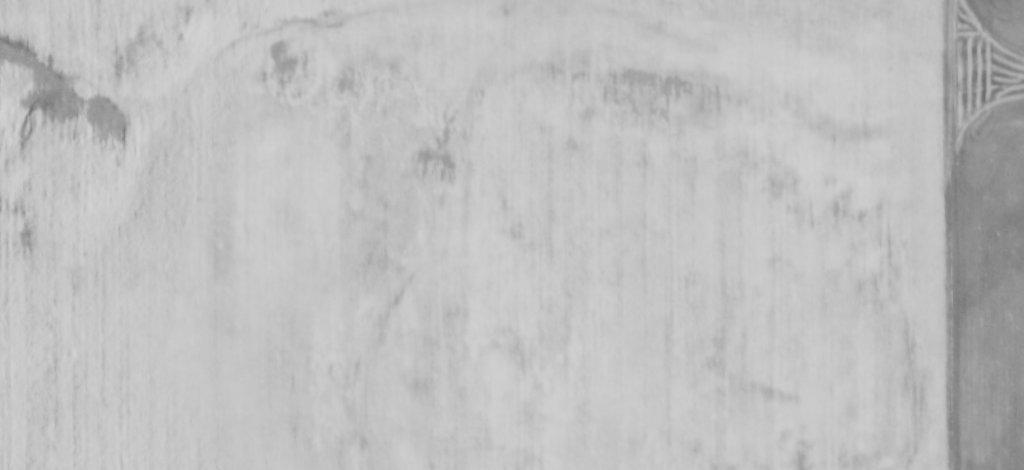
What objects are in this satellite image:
road: (951, 235)

